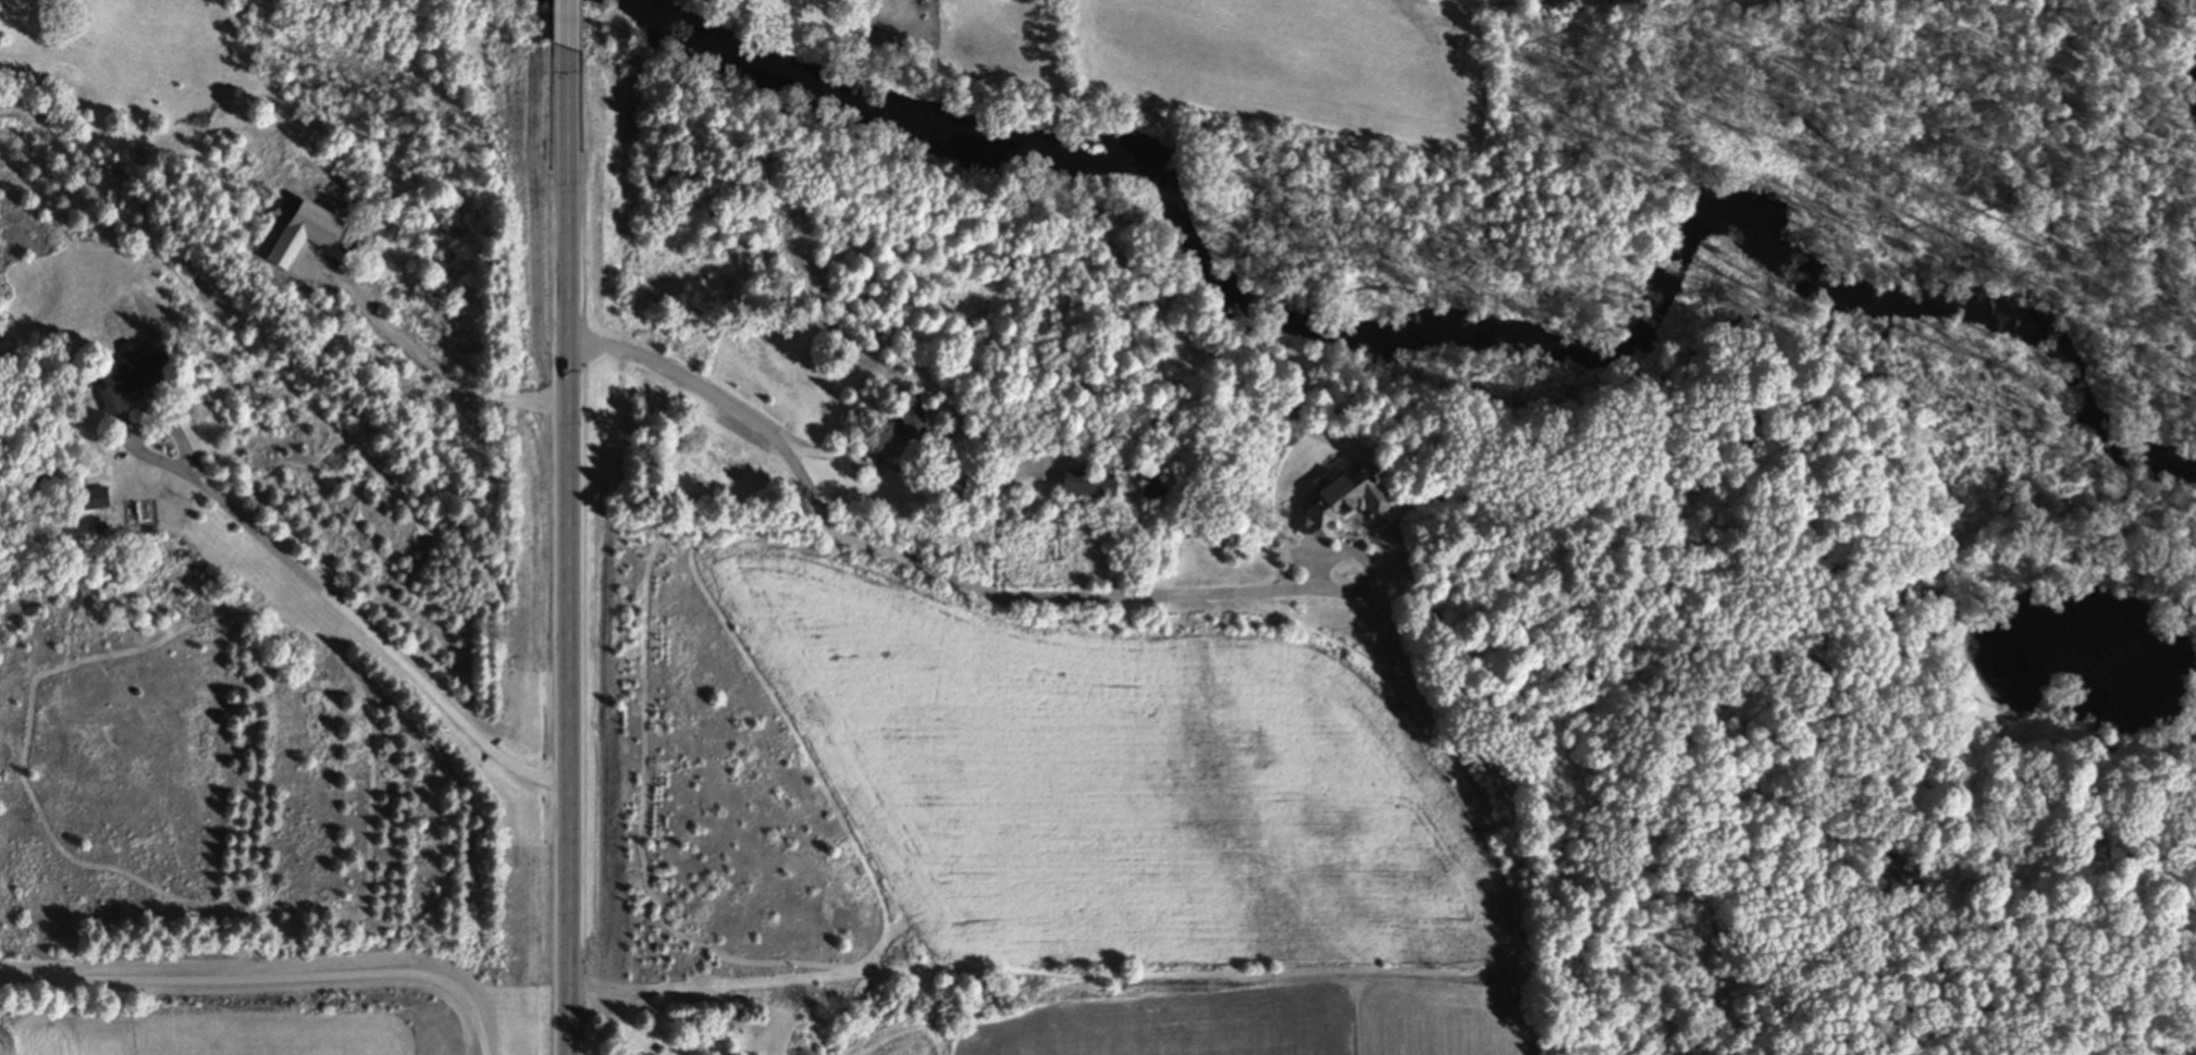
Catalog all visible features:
building: (910, 0)
road: (571, 25)
river: (1424, 335)
building: (136, 380)
building: (915, 422)
building: (1081, 487)
building: (1147, 489)
building: (1340, 498)
building: (100, 499)
road: (571, 553)
road: (976, 586)
road: (374, 634)
road: (270, 970)

